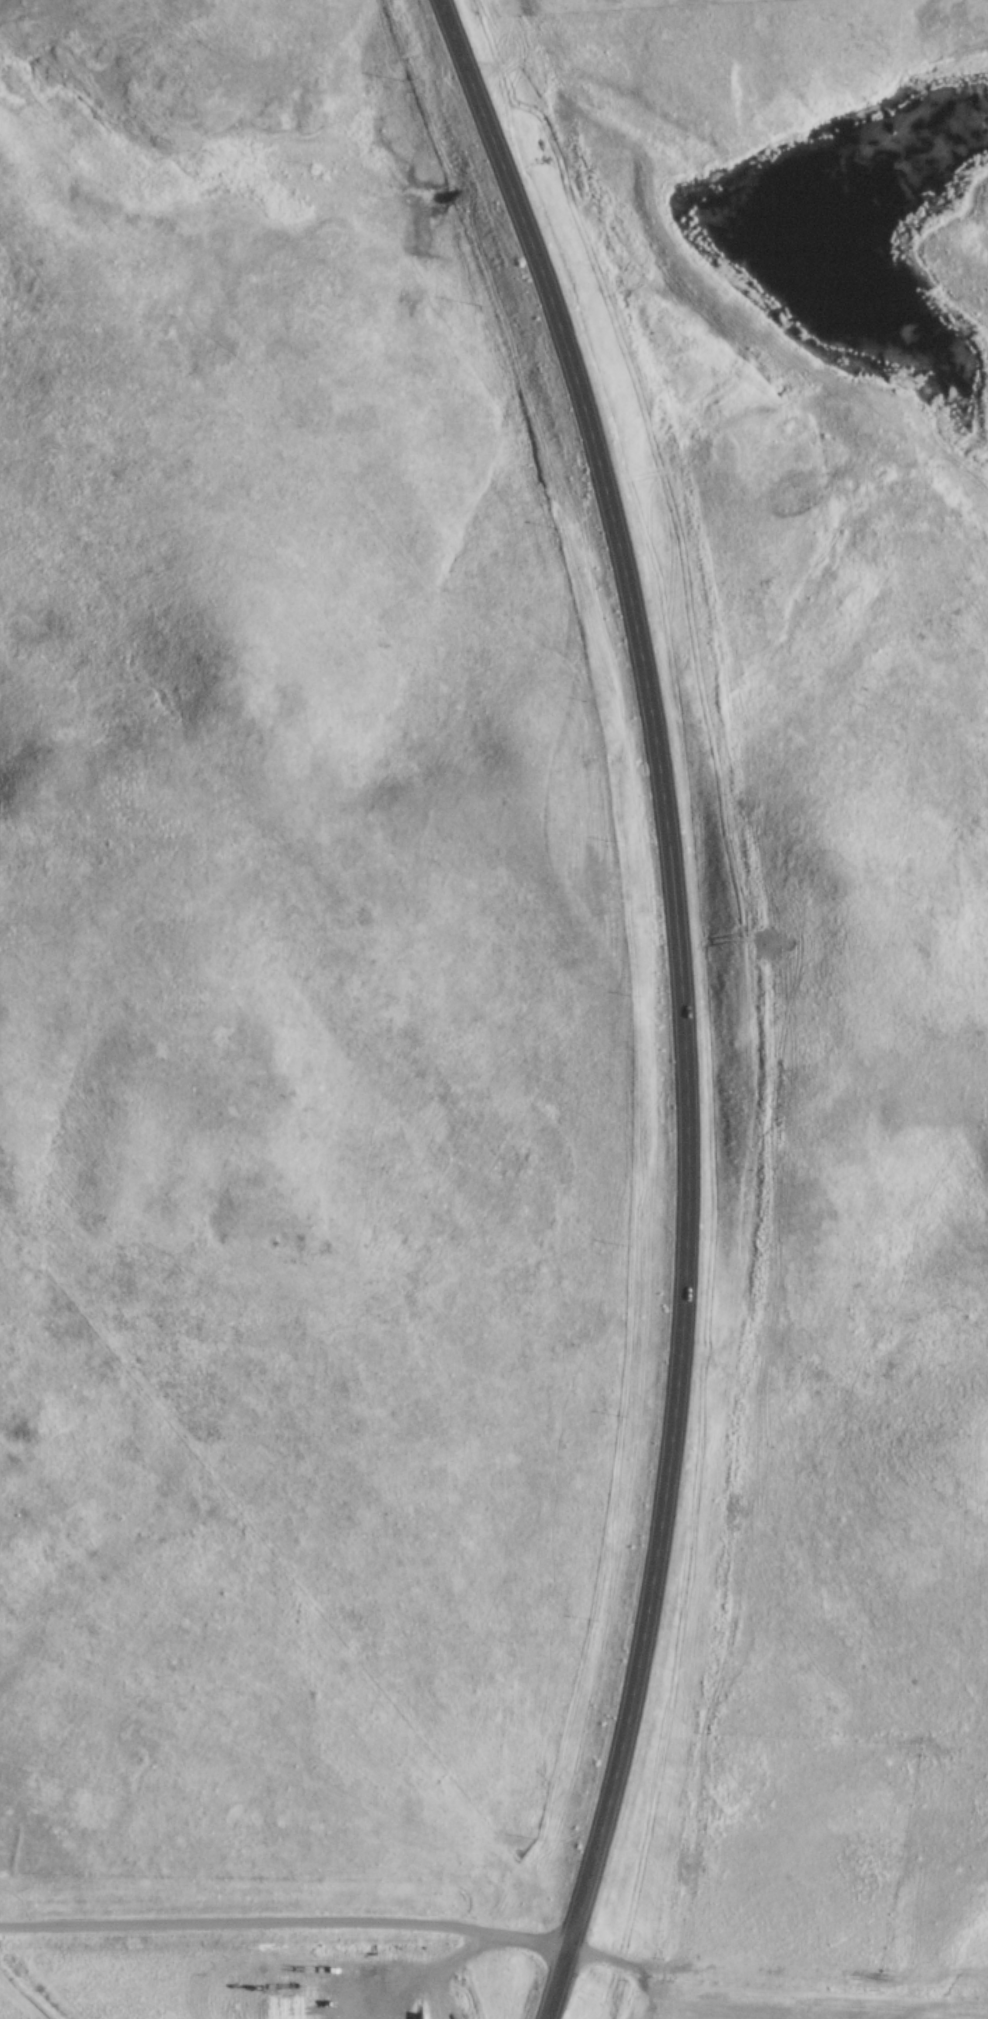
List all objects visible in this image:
road: (685, 1000)
road: (286, 1923)

